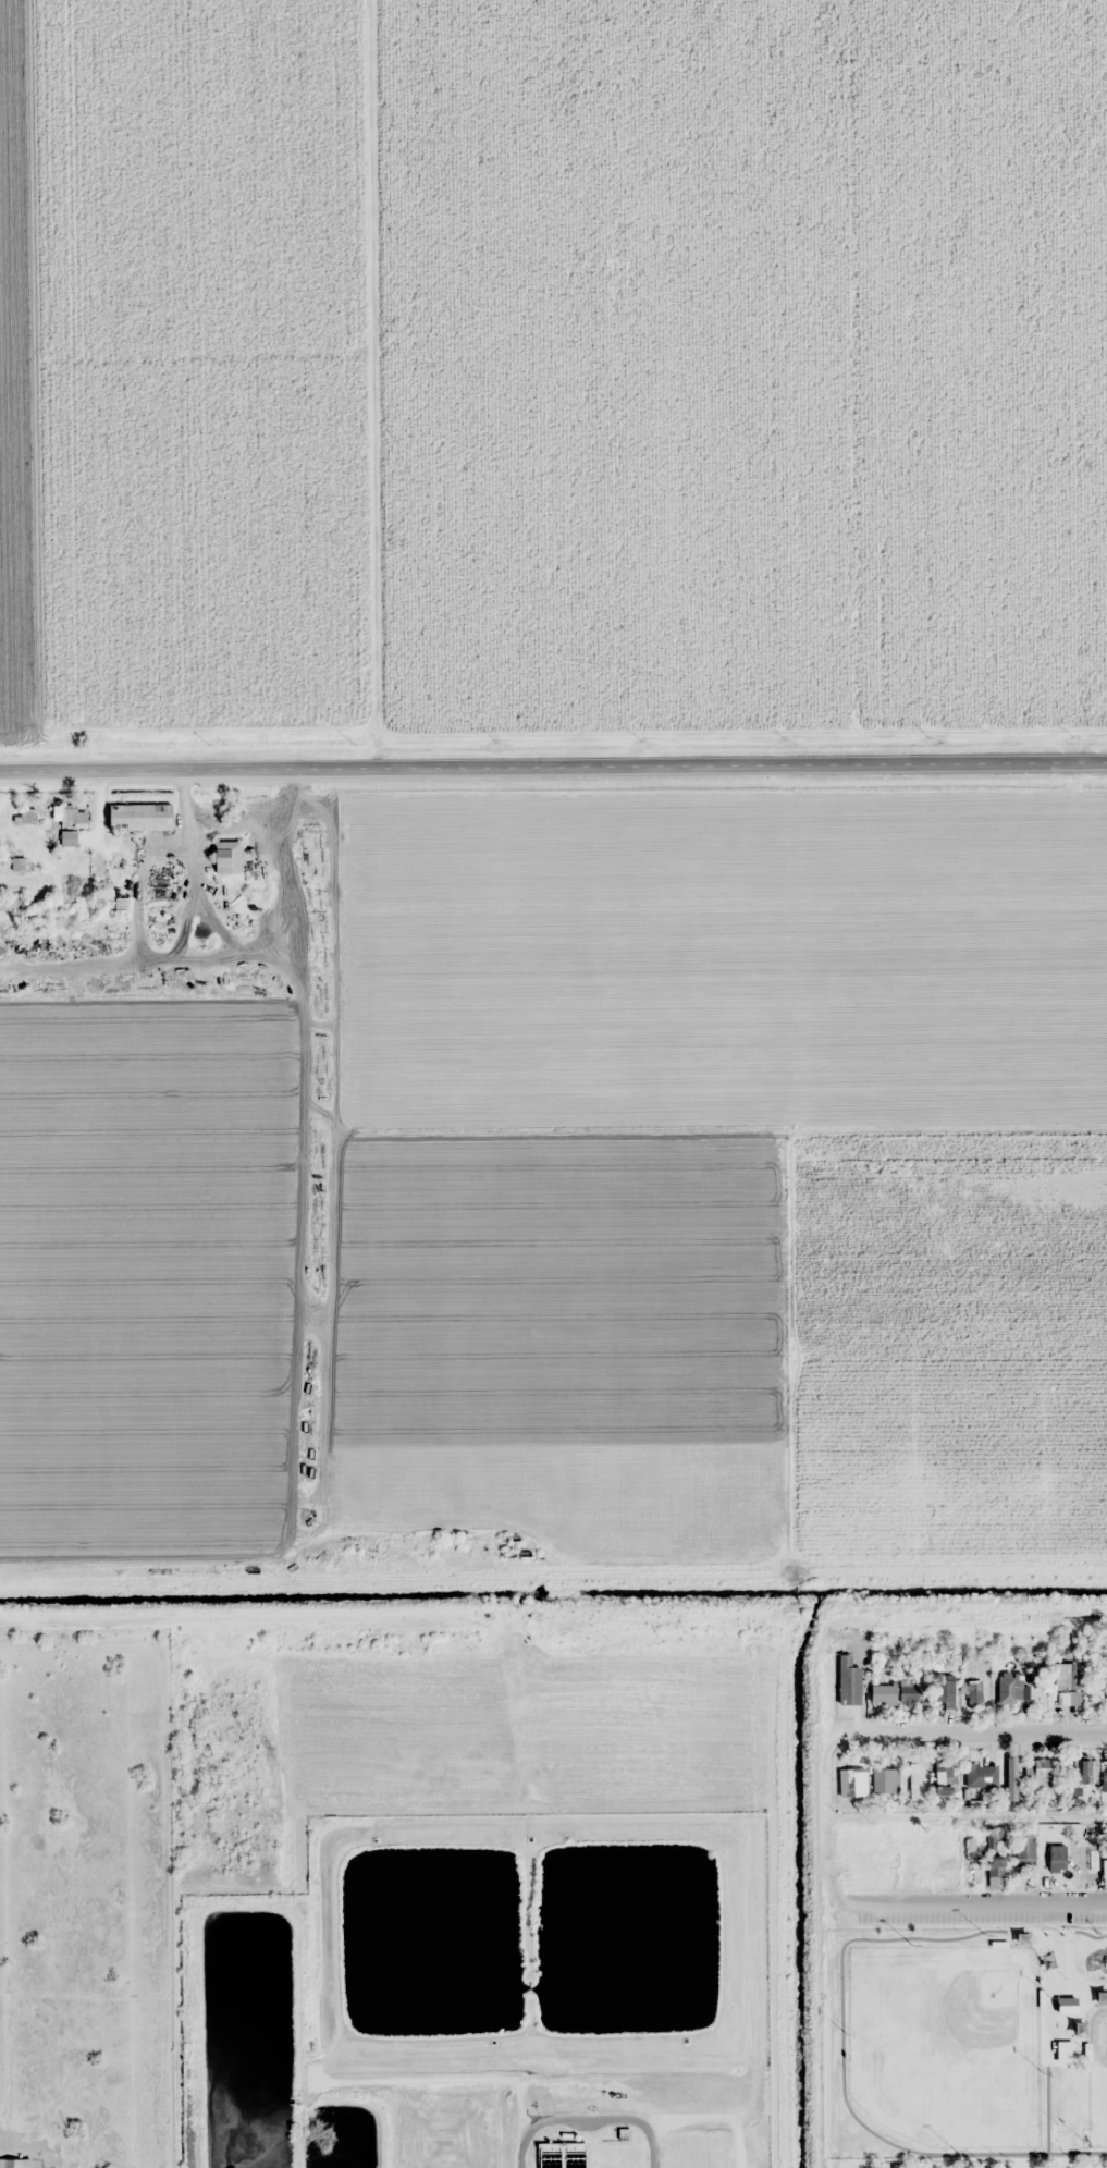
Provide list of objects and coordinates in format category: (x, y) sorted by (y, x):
road: (553, 761)
building: (28, 814)
building: (65, 814)
building: (142, 818)
building: (70, 838)
building: (435, 1164)
building: (847, 1681)
building: (1067, 1687)
building: (1106, 1688)
building: (1011, 1689)
building: (893, 1693)
building: (944, 1693)
building: (971, 1694)
road: (970, 1734)
building: (1082, 1768)
building: (1040, 1773)
building: (981, 1775)
building: (1106, 1777)
building: (942, 1778)
building: (884, 1780)
building: (912, 1780)
building: (850, 1781)
building: (993, 1837)
building: (1023, 1853)
building: (1049, 1855)
building: (968, 1860)
building: (1082, 1862)
building: (940, 1864)
building: (994, 1872)
road: (971, 1904)
park: (976, 2031)
building: (1062, 2051)
building: (562, 2155)
building: (15, 2164)

